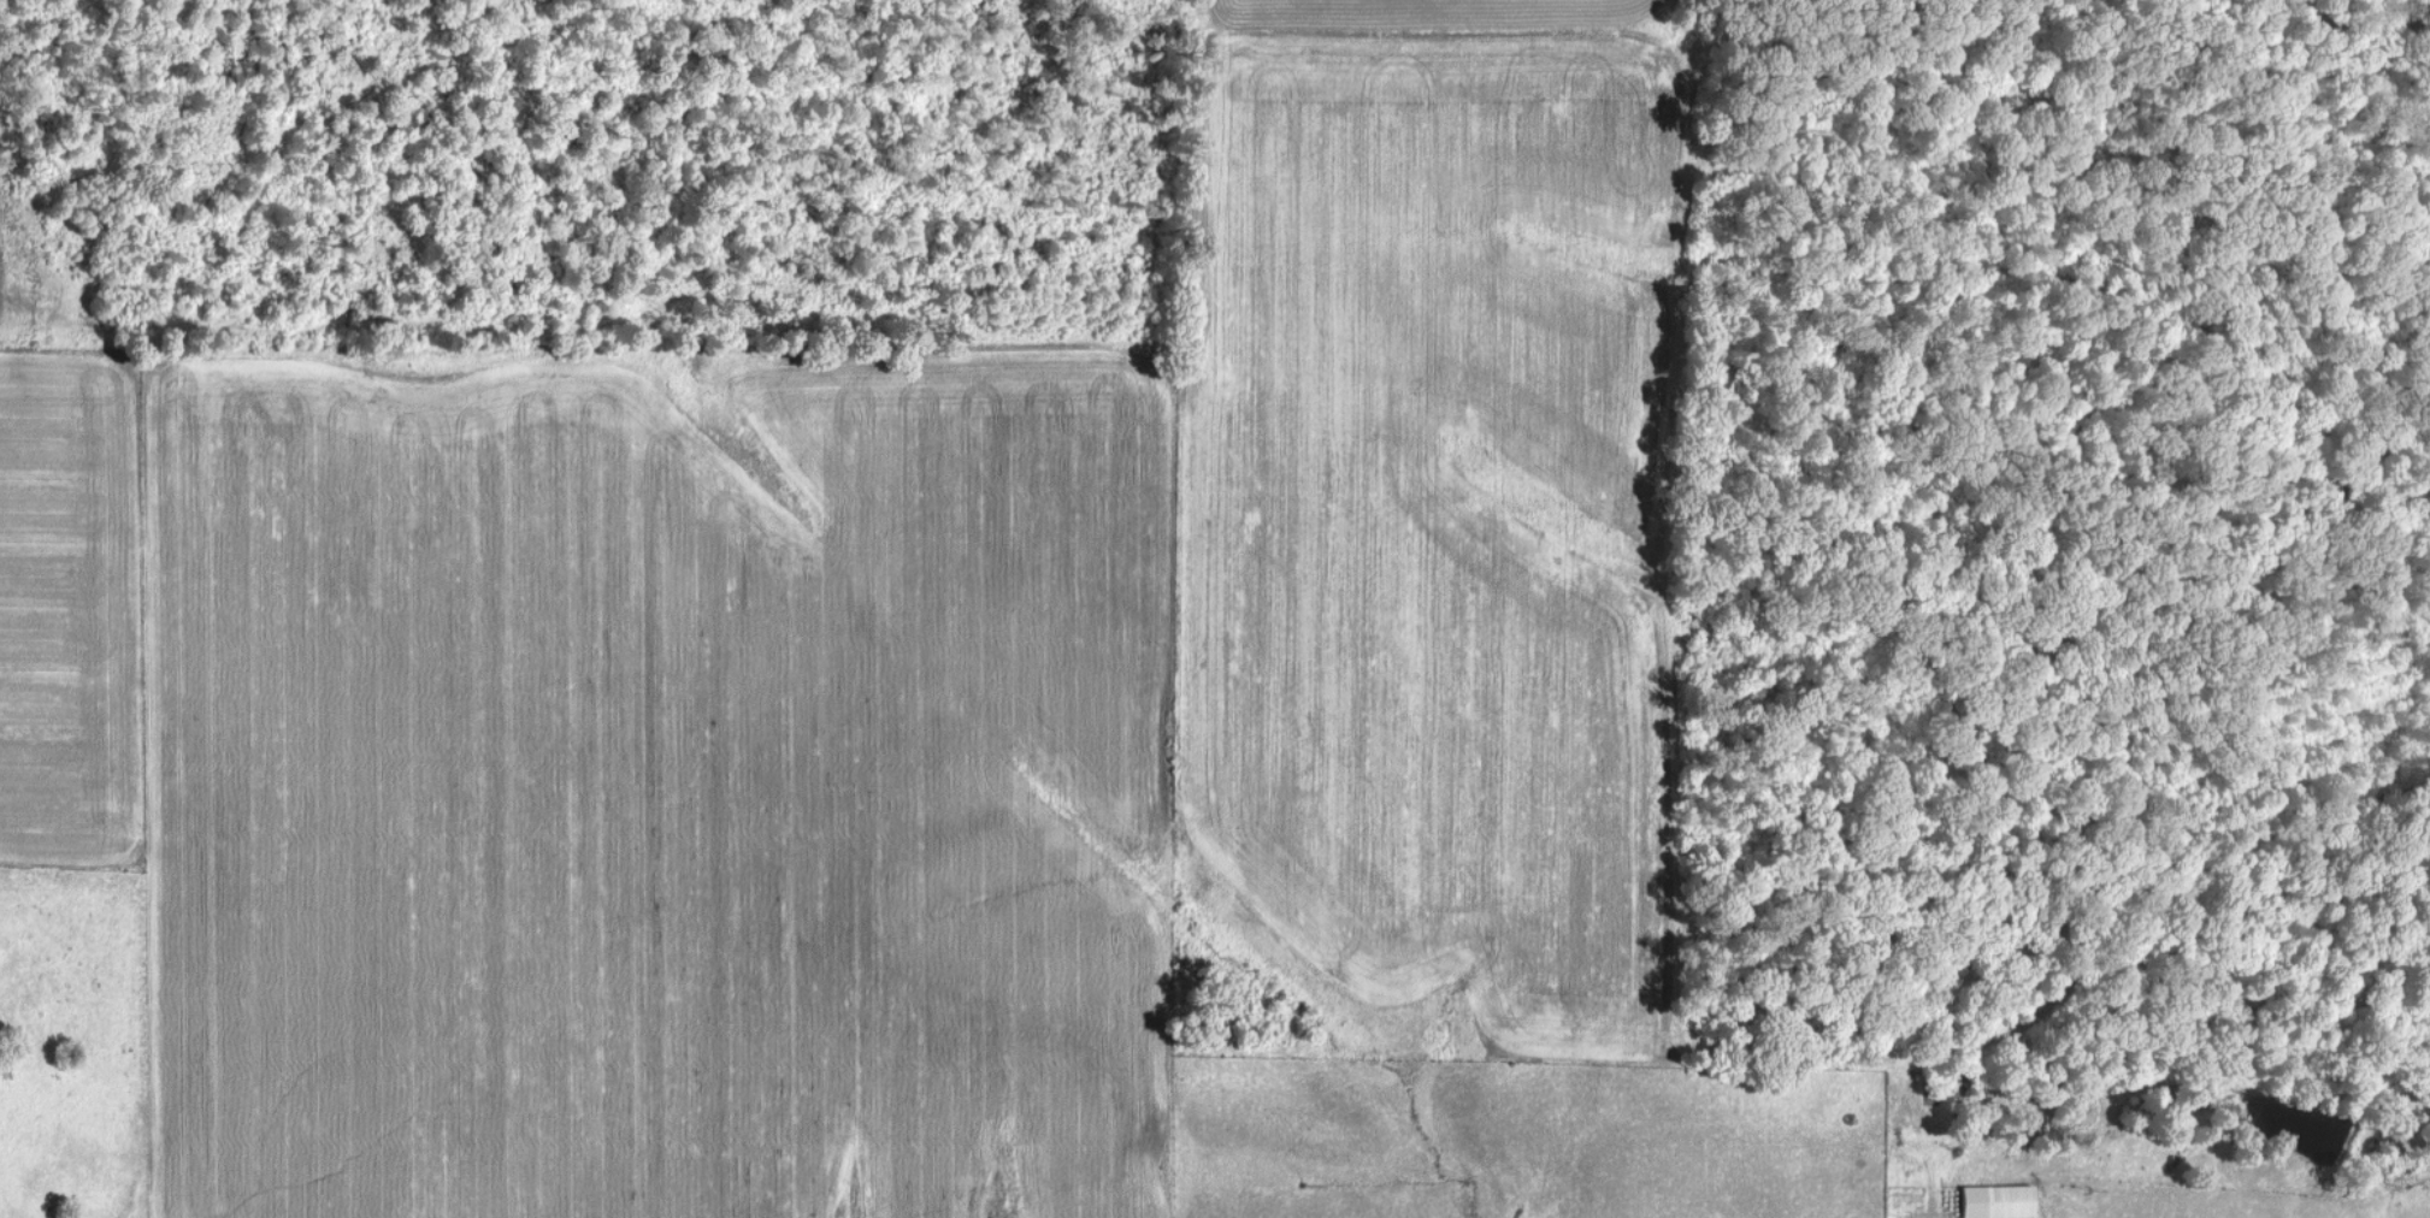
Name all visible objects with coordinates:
building: (1995, 1199)

